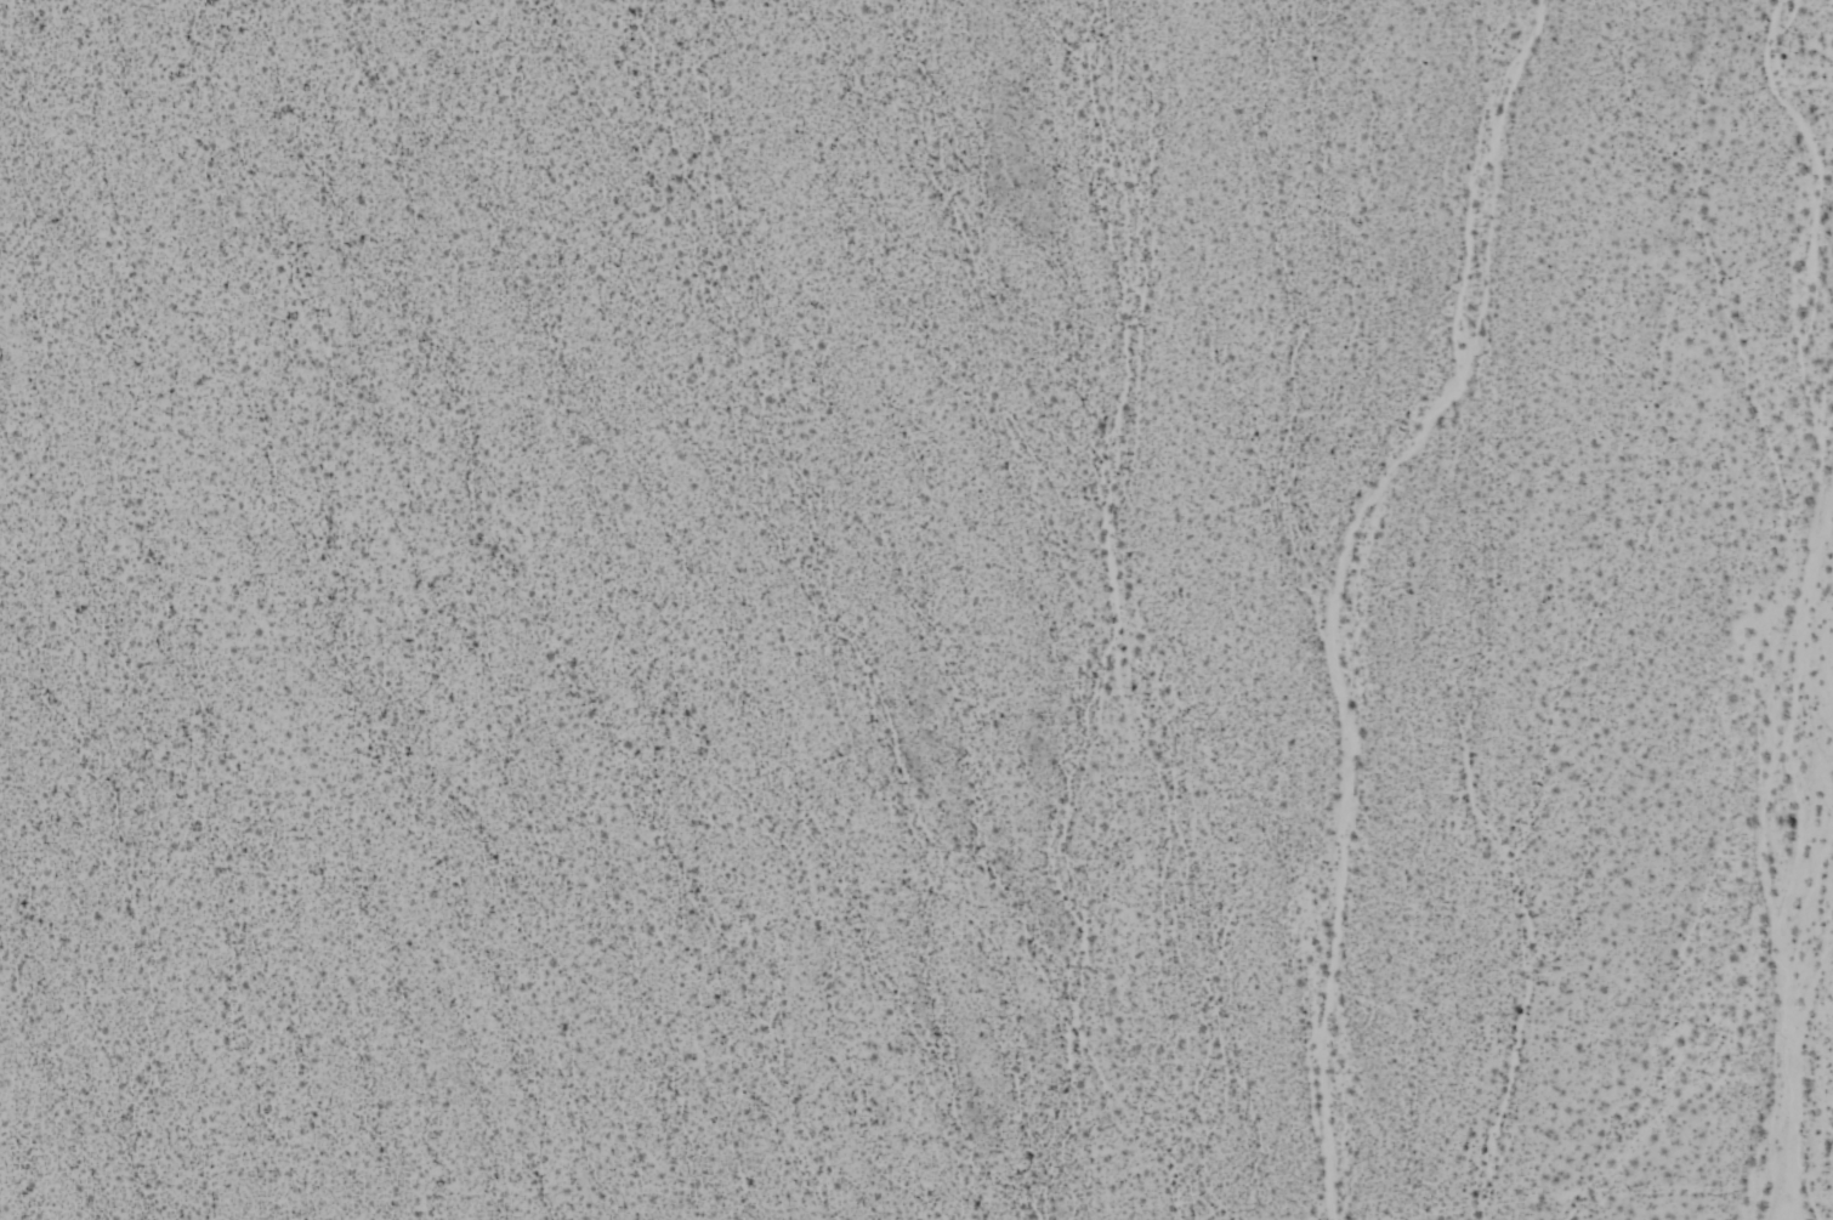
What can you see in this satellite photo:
road: (1602, 1175)

